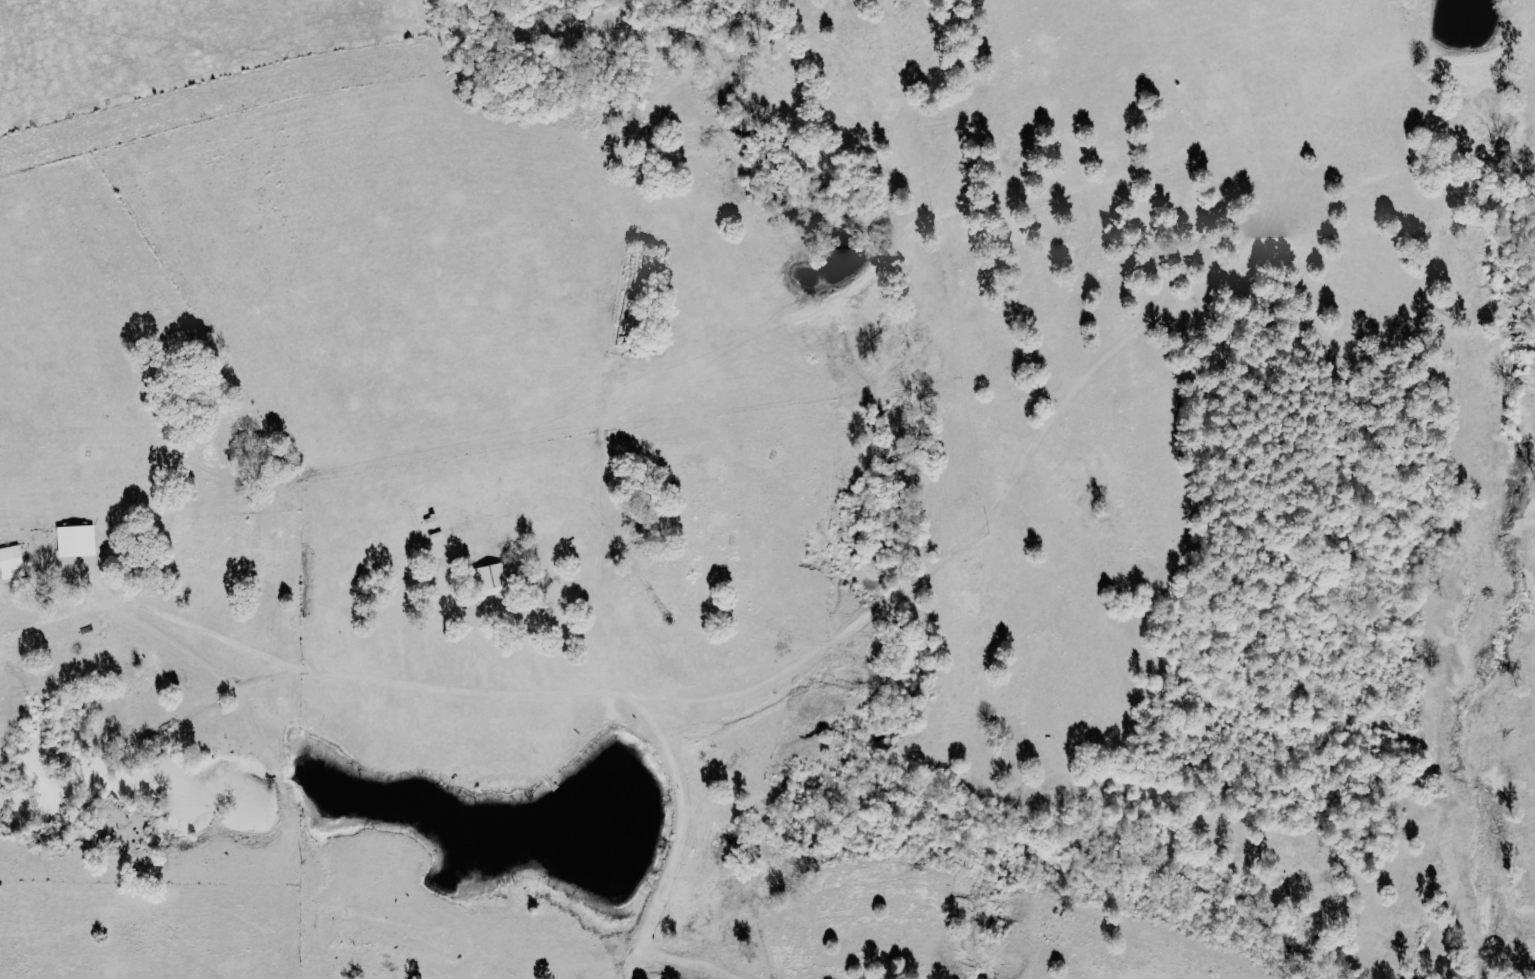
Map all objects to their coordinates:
building: (74, 539)
building: (10, 562)
building: (488, 579)

